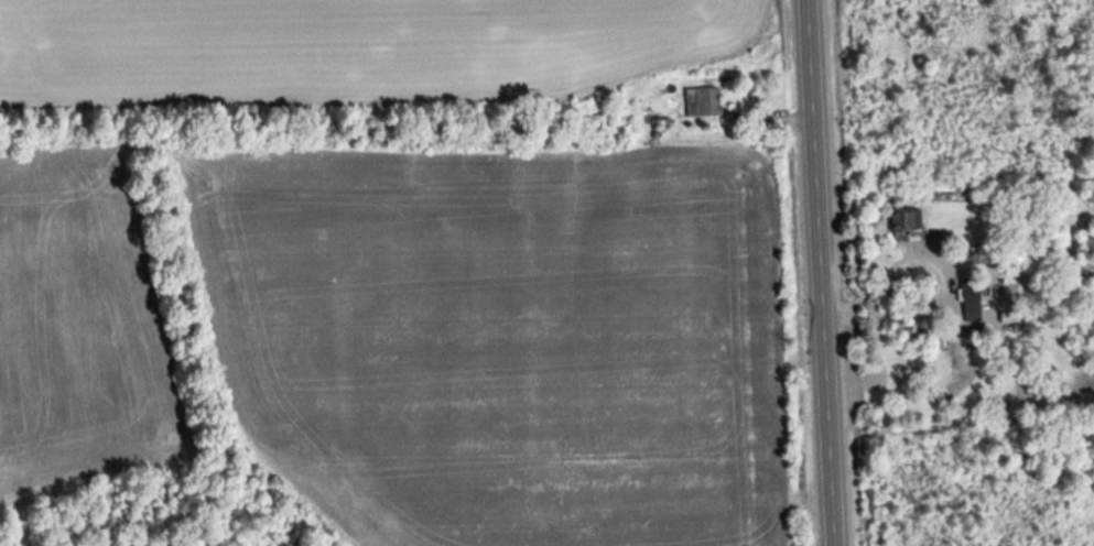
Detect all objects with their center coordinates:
building: (701, 102)
building: (906, 219)
road: (816, 273)
road: (940, 291)
building: (968, 298)
building: (950, 357)

